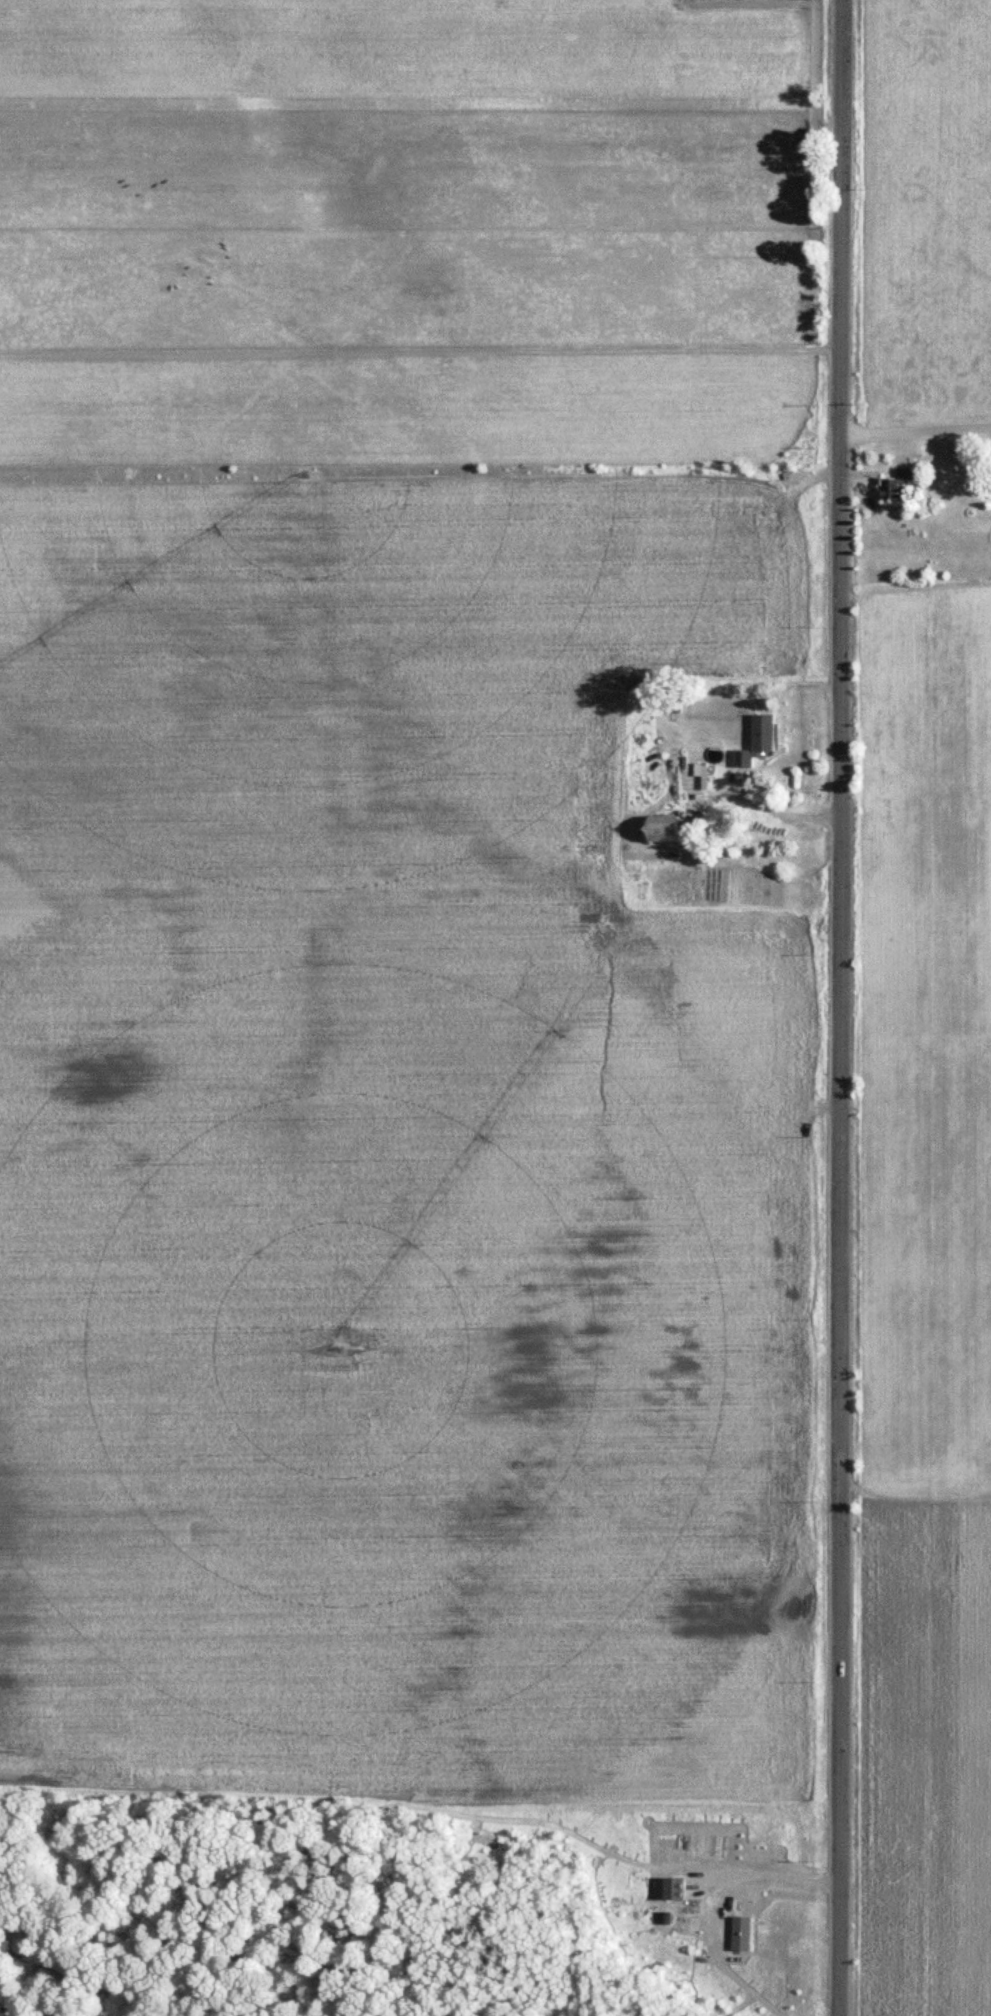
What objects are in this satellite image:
road: (916, 406)
building: (894, 485)
building: (756, 741)
road: (779, 815)
building: (661, 828)
road: (840, 1007)
road: (764, 1874)
building: (672, 1888)

